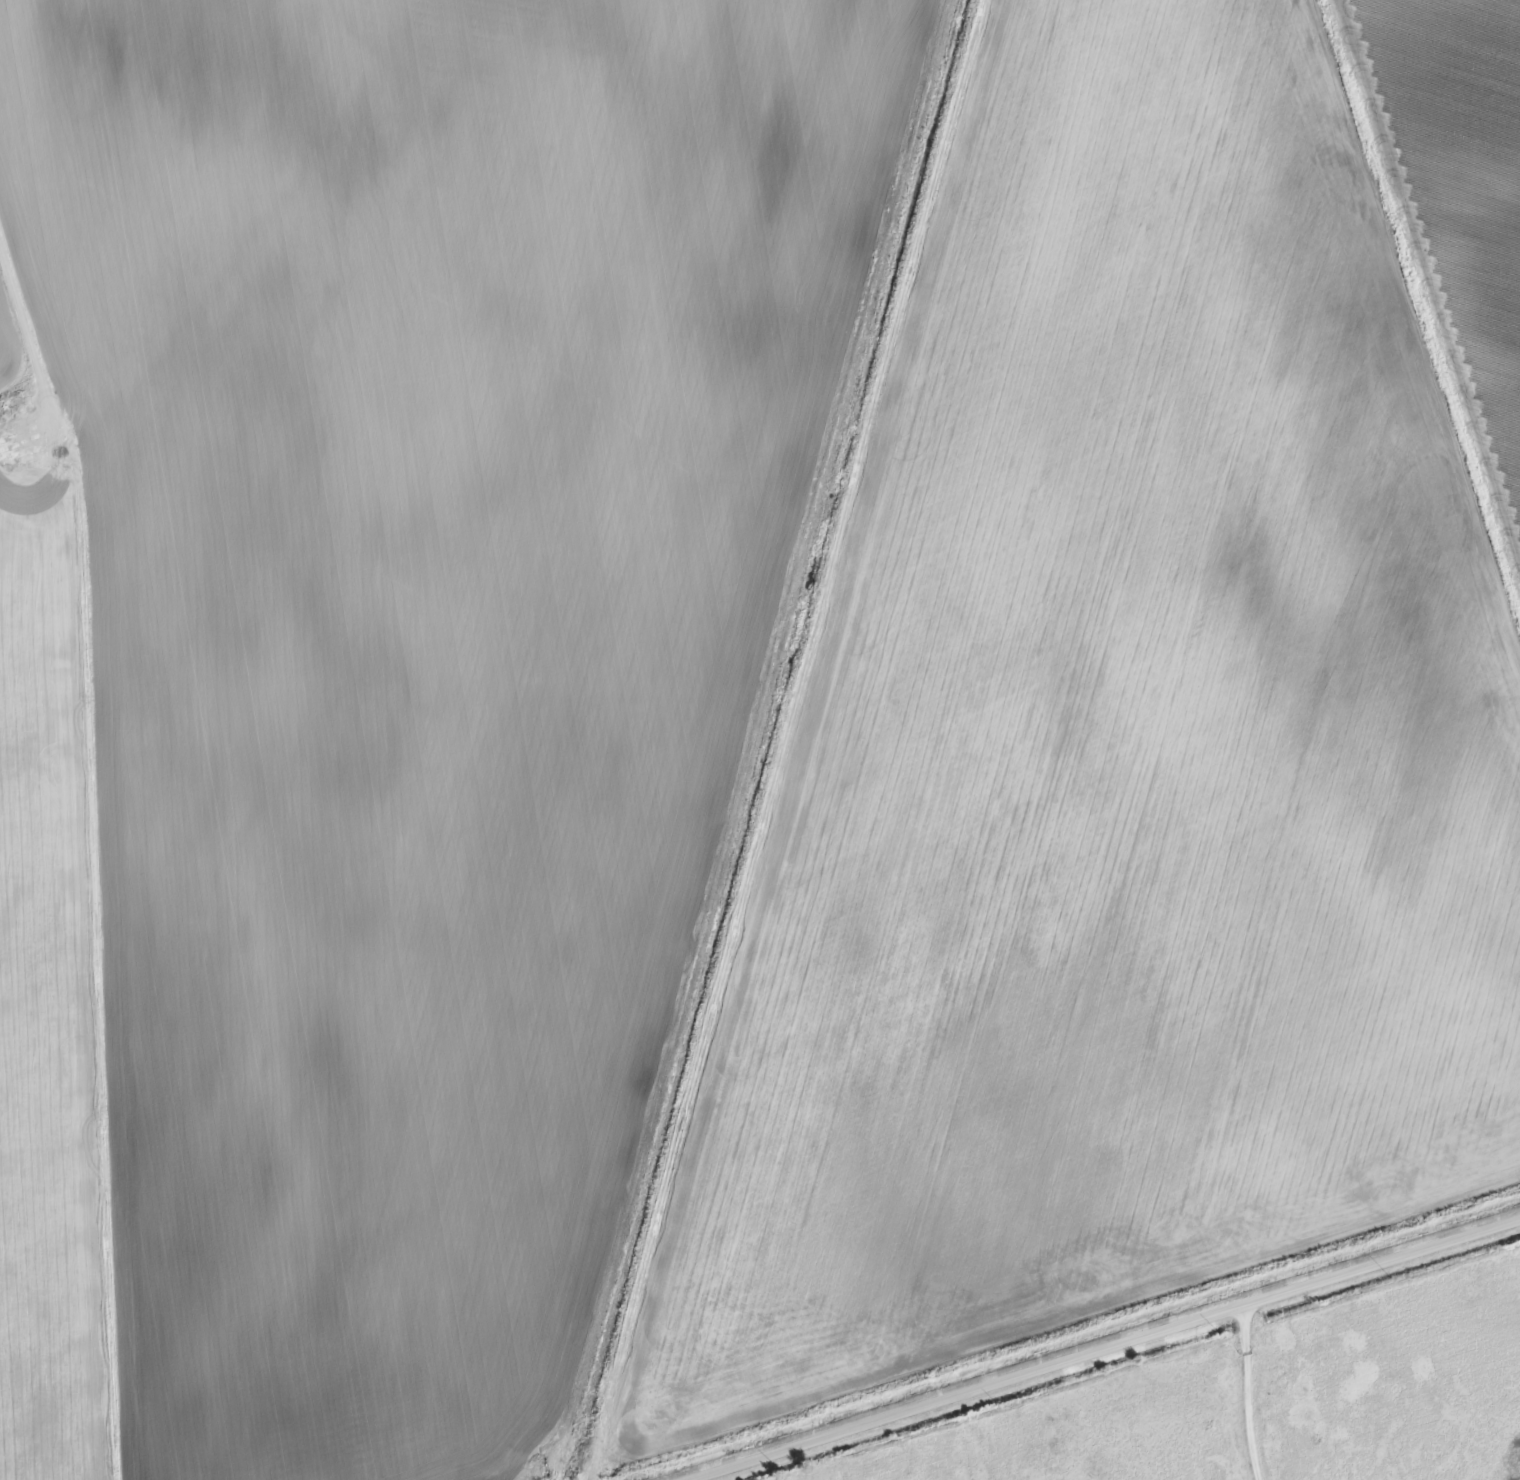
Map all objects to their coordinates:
road: (1096, 1348)
road: (1244, 1392)
road: (605, 1445)

